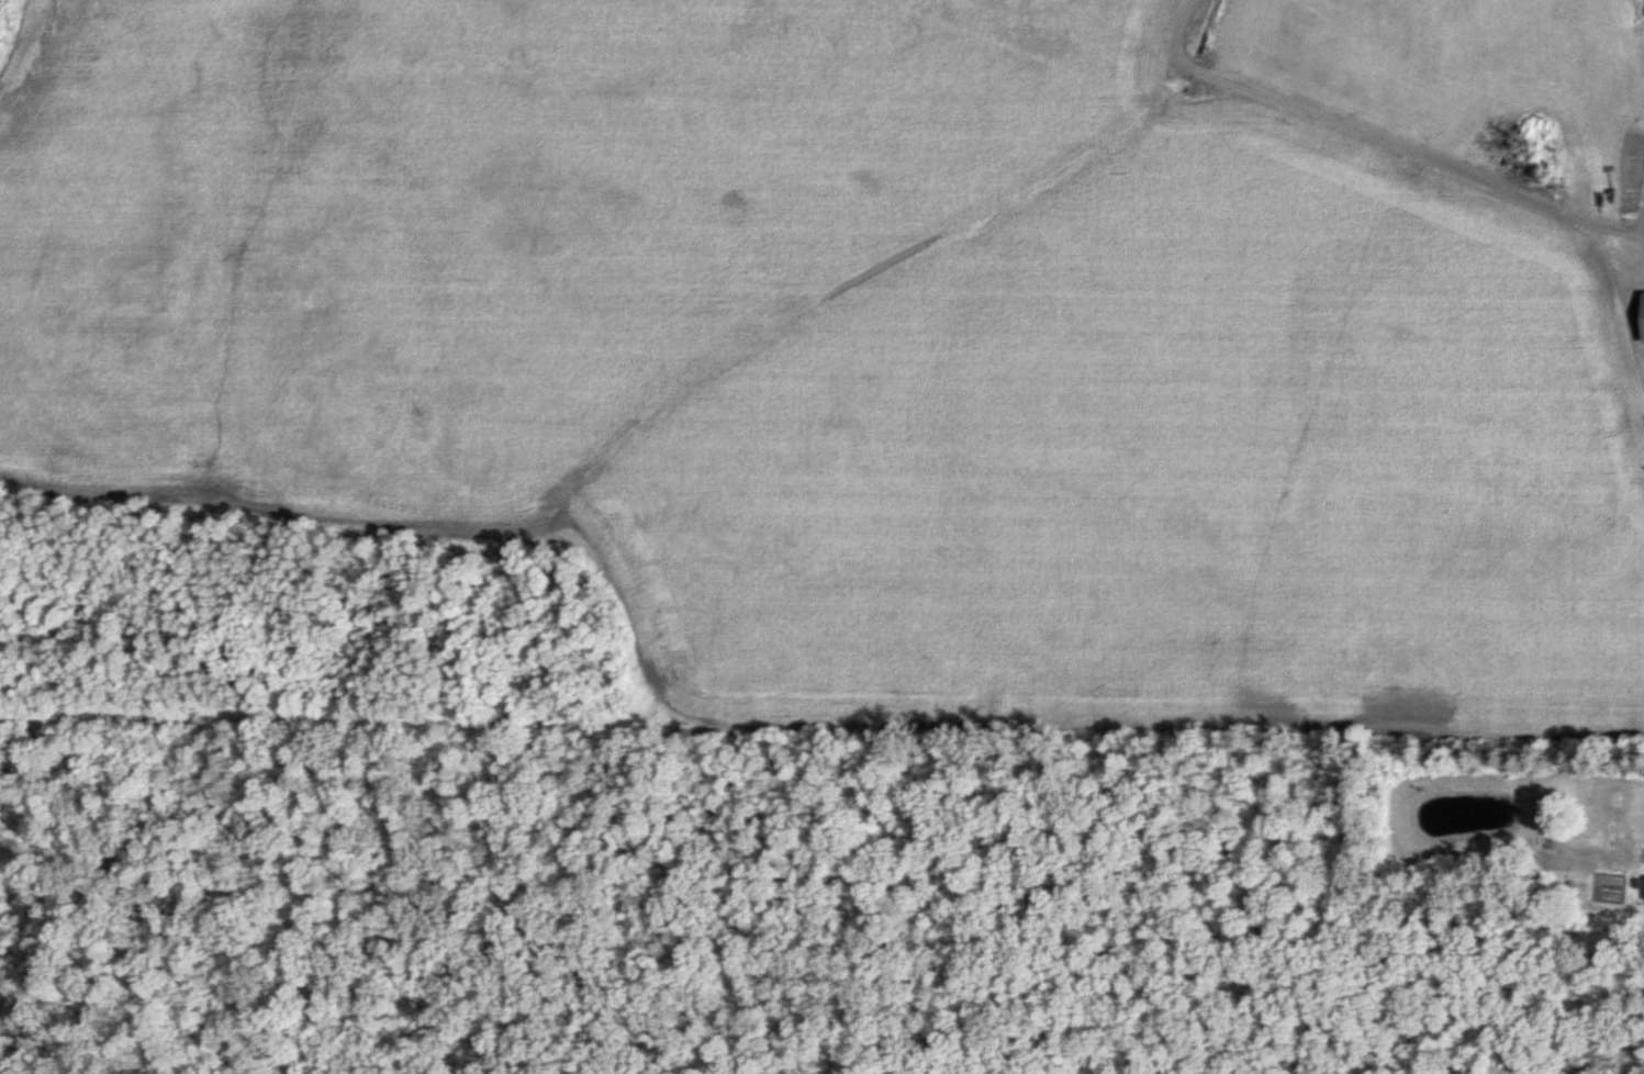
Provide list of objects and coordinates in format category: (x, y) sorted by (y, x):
building: (1637, 316)

